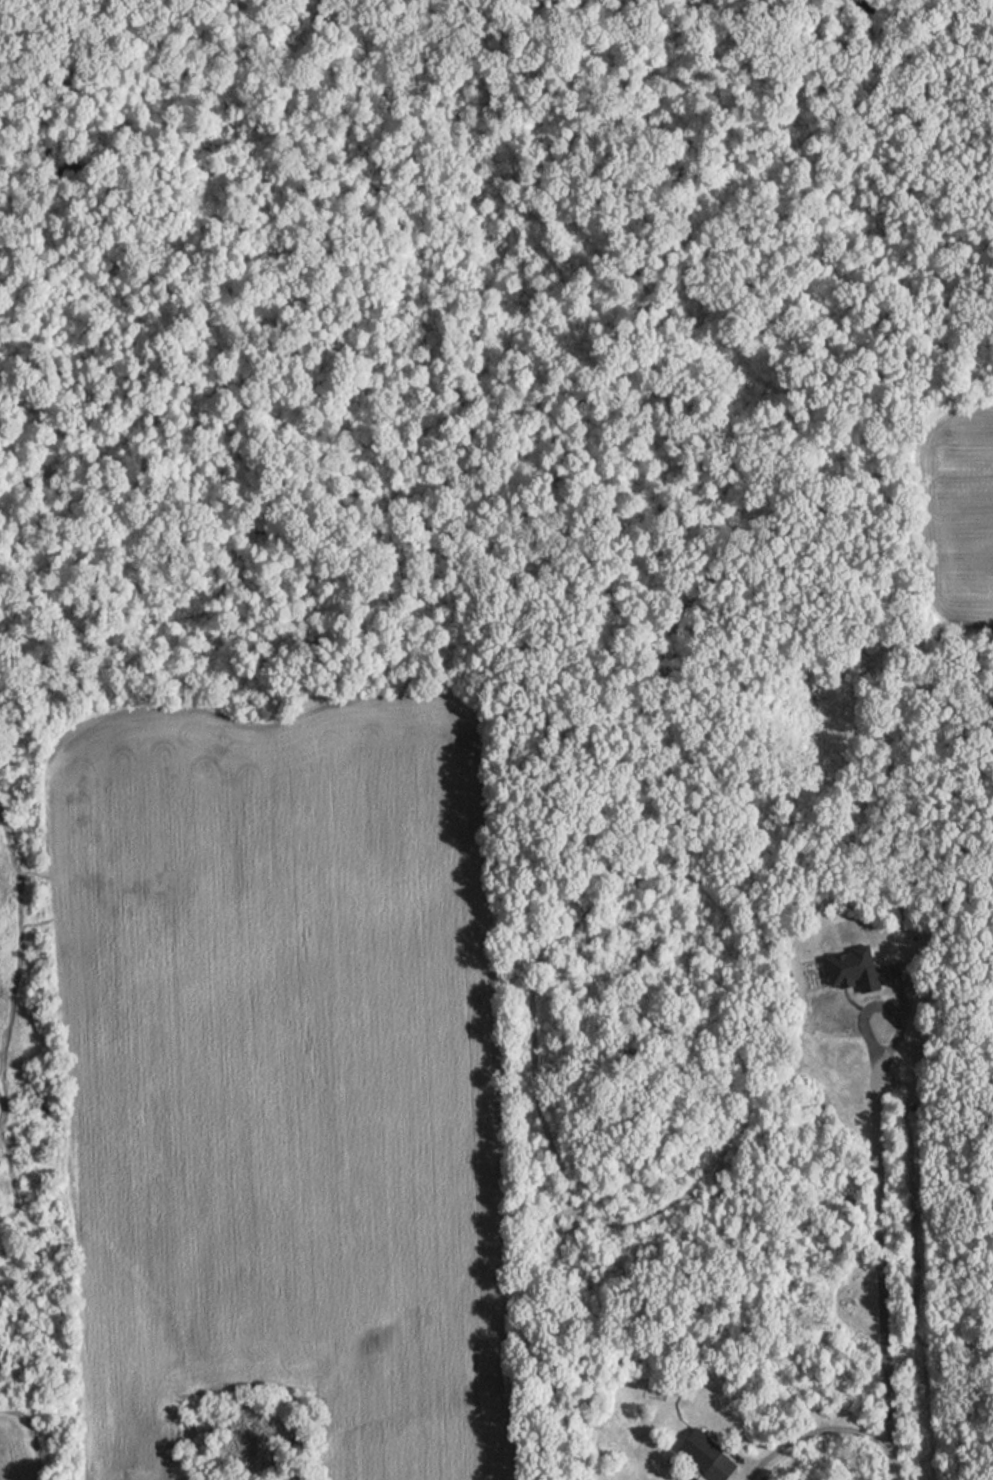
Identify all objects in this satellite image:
building: (848, 1021)
road: (875, 1266)
road: (811, 1431)
building: (709, 1454)

